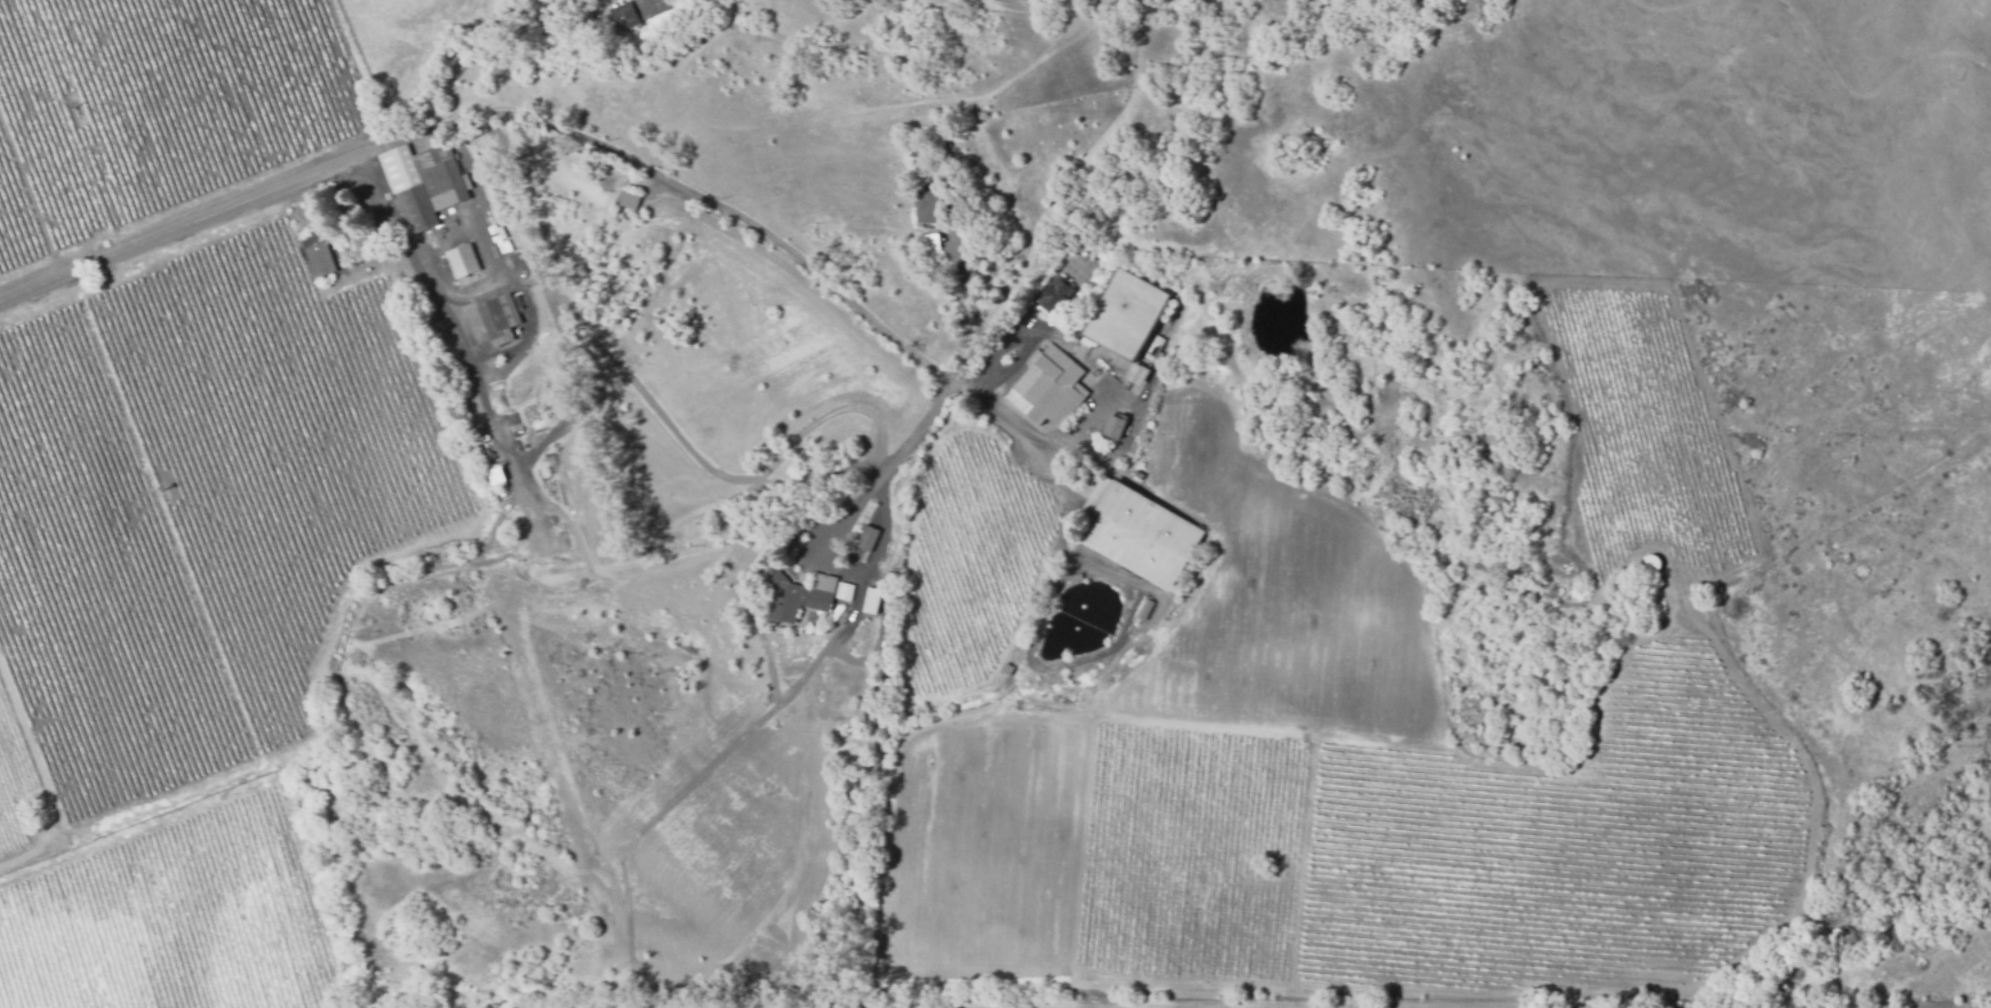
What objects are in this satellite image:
building: (637, 12)
road: (556, 131)
building: (423, 183)
building: (631, 197)
building: (935, 204)
building: (931, 241)
building: (355, 243)
road: (427, 256)
building: (1087, 257)
building: (320, 259)
building: (463, 261)
building: (1055, 294)
building: (1125, 314)
building: (499, 319)
building: (1154, 348)
road: (1000, 371)
building: (1137, 374)
building: (1049, 387)
building: (1114, 427)
building: (1112, 462)
road: (893, 470)
building: (1140, 477)
road: (1077, 495)
building: (1139, 532)
building: (865, 535)
building: (1651, 560)
building: (1076, 577)
building: (843, 589)
building: (799, 596)
building: (872, 600)
building: (1145, 609)
building: (1655, 609)
building: (1657, 625)
building: (1008, 669)

